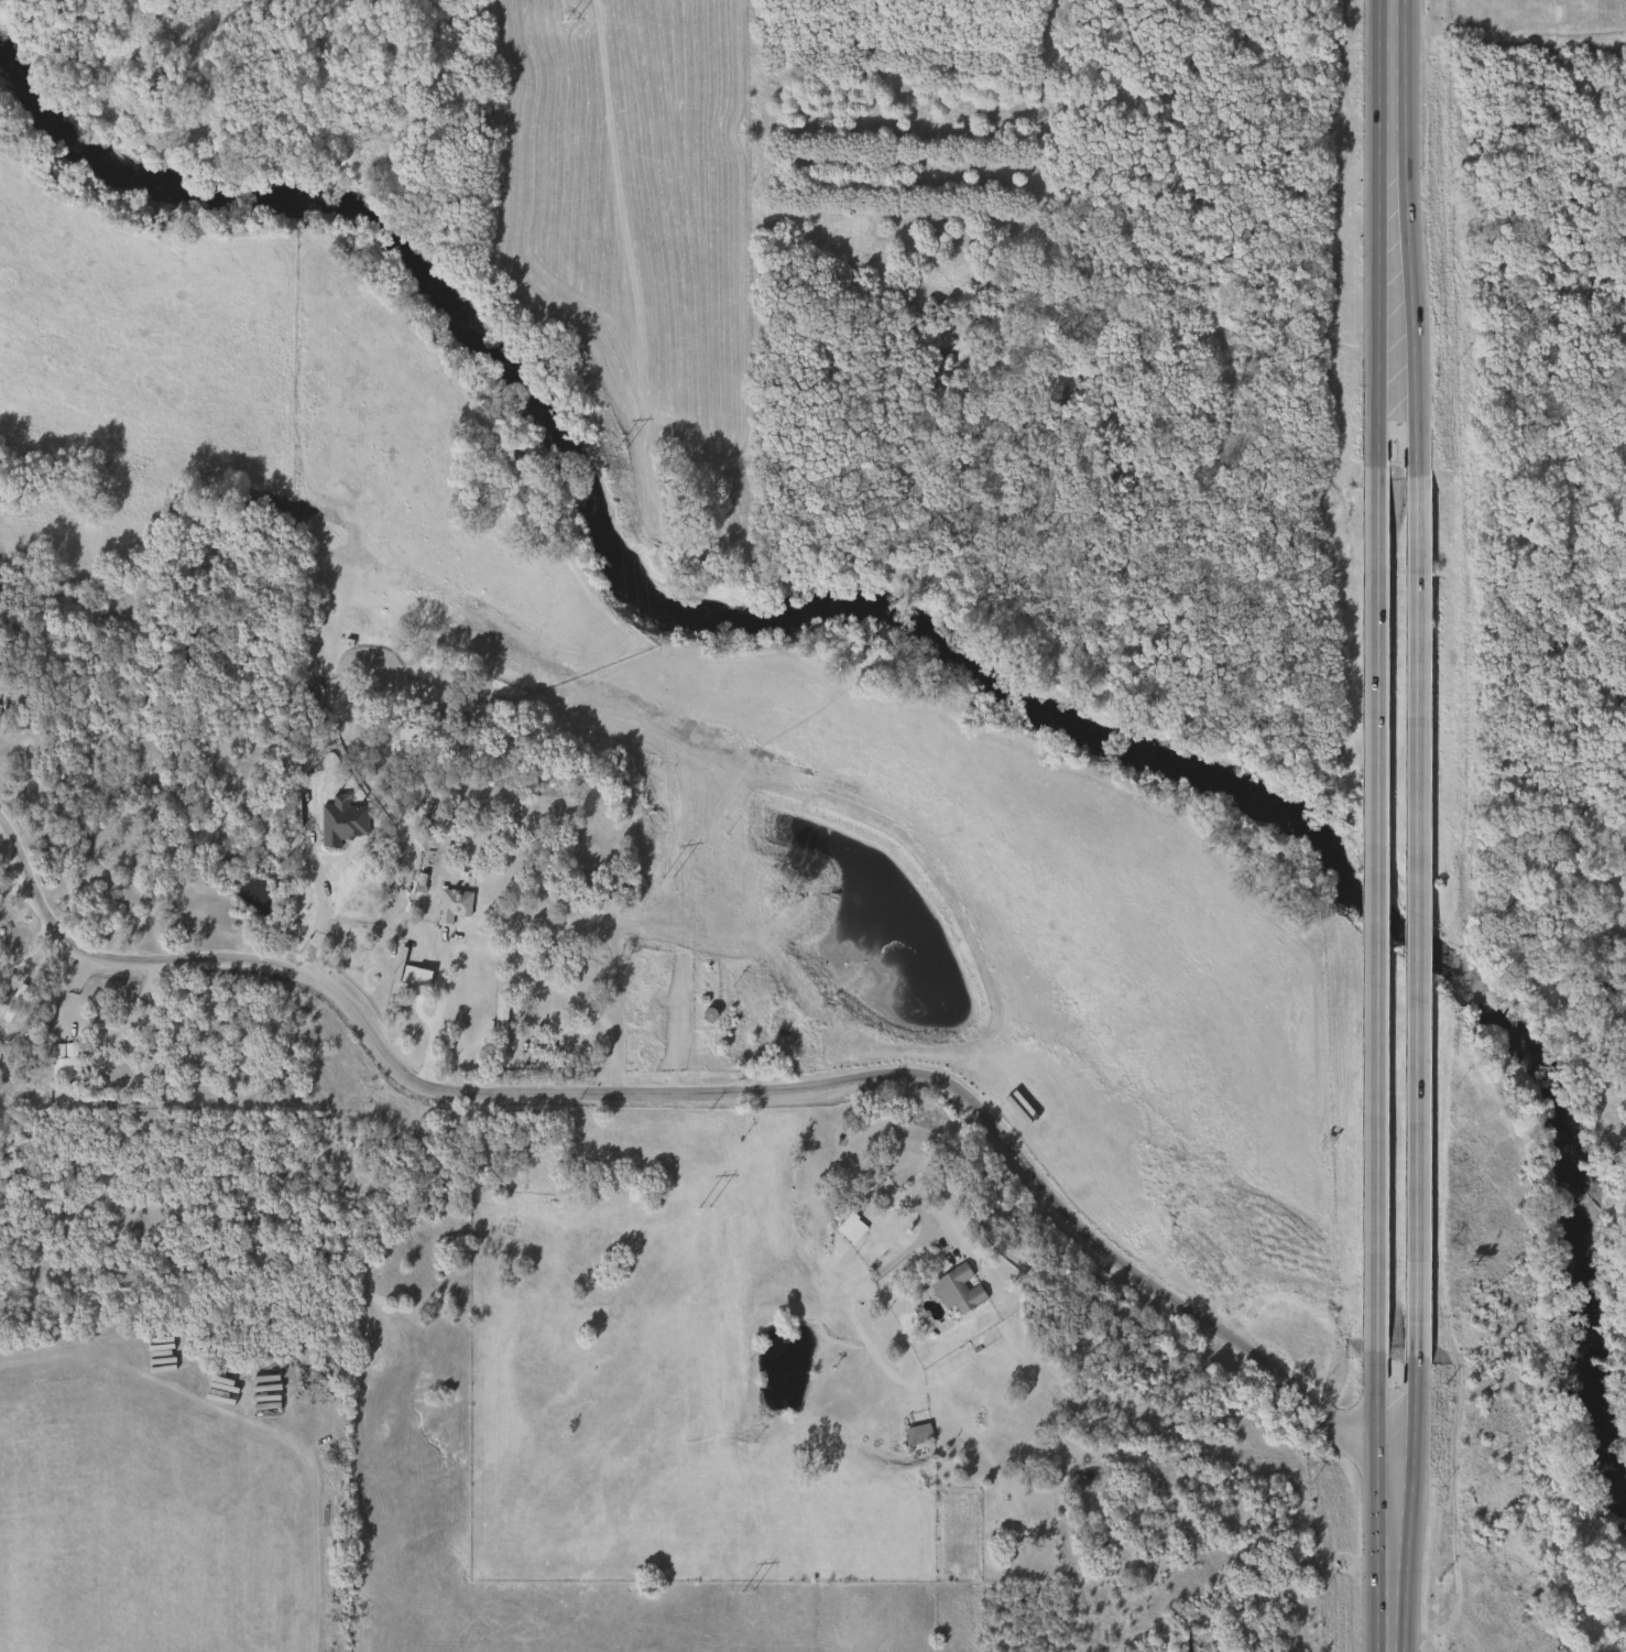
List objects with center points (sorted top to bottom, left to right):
power tower: (571, 19)
road: (1394, 140)
power tower: (620, 450)
river: (926, 630)
building: (359, 664)
building: (1, 697)
building: (341, 820)
building: (301, 847)
power tower: (668, 877)
road: (1376, 881)
road: (1414, 882)
road: (13, 885)
building: (449, 905)
road: (328, 913)
road: (25, 955)
road: (192, 960)
building: (413, 980)
building: (11, 1002)
road: (435, 1014)
building: (706, 1014)
building: (61, 1061)
road: (720, 1091)
building: (514, 1156)
power tower: (703, 1207)
building: (848, 1229)
road: (1035, 1272)
building: (954, 1291)
road: (1194, 1319)
building: (914, 1435)
road: (1388, 1567)
power tower: (746, 1590)
building: (1193, 1642)

